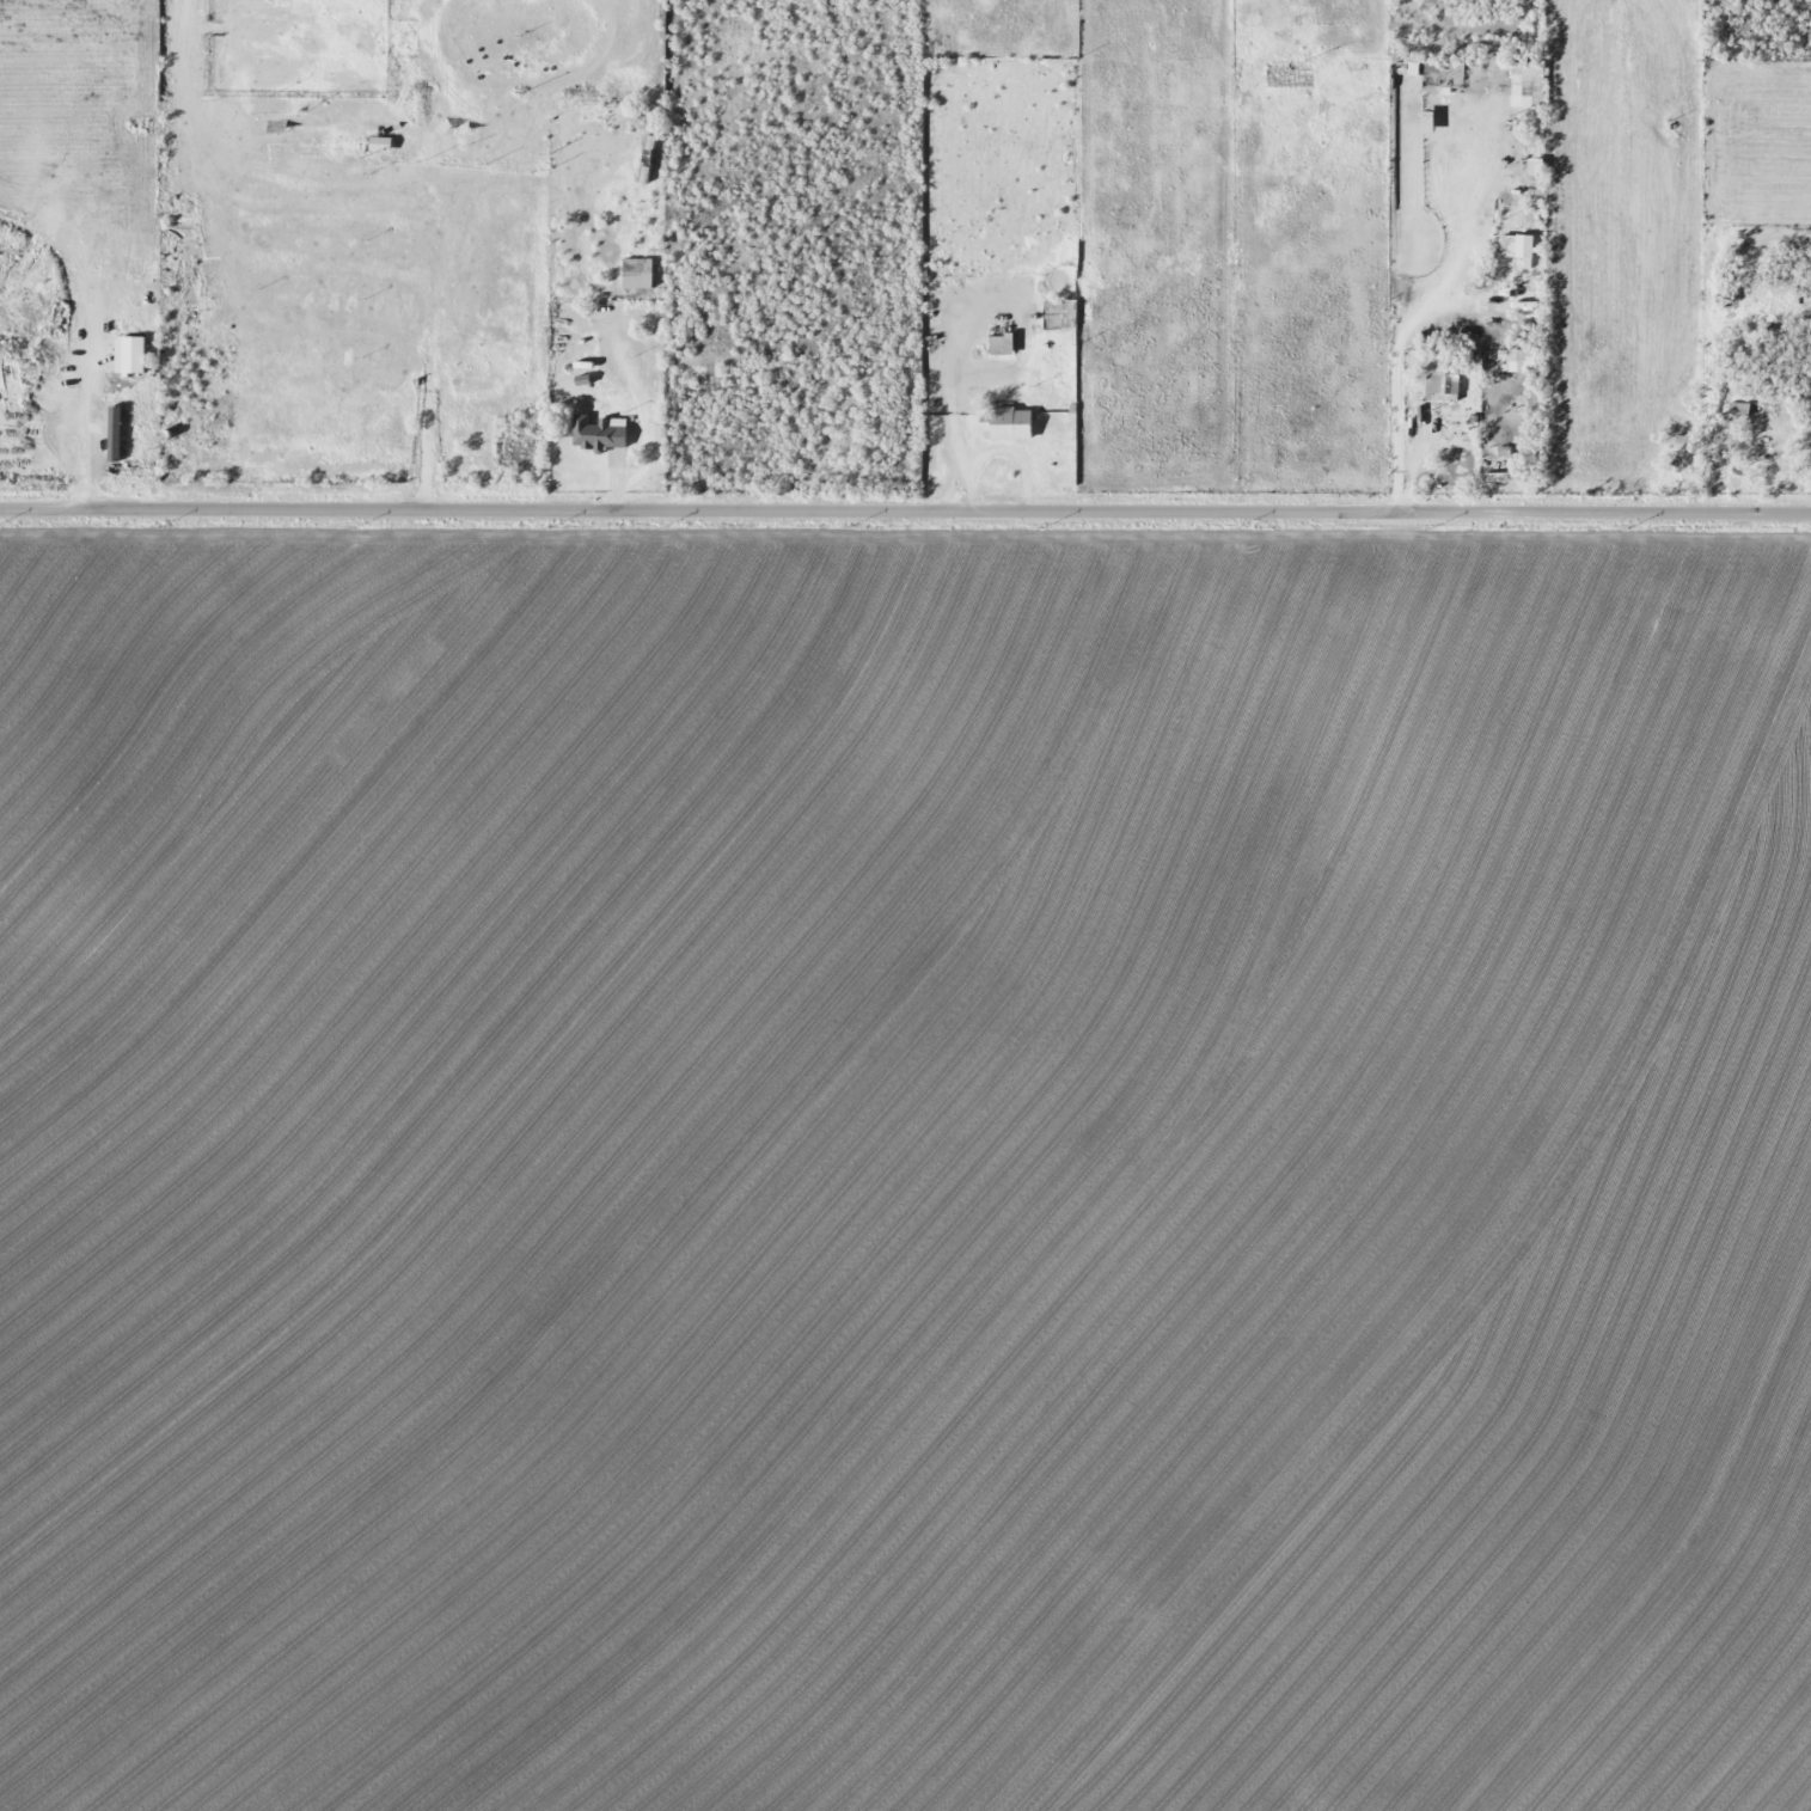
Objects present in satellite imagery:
building: (1433, 66)
building: (1529, 80)
building: (377, 143)
building: (649, 158)
building: (1521, 247)
building: (635, 274)
building: (1066, 314)
building: (998, 342)
building: (127, 355)
building: (1524, 361)
building: (1439, 385)
building: (651, 390)
building: (1004, 422)
building: (118, 433)
building: (595, 434)
road: (905, 512)

